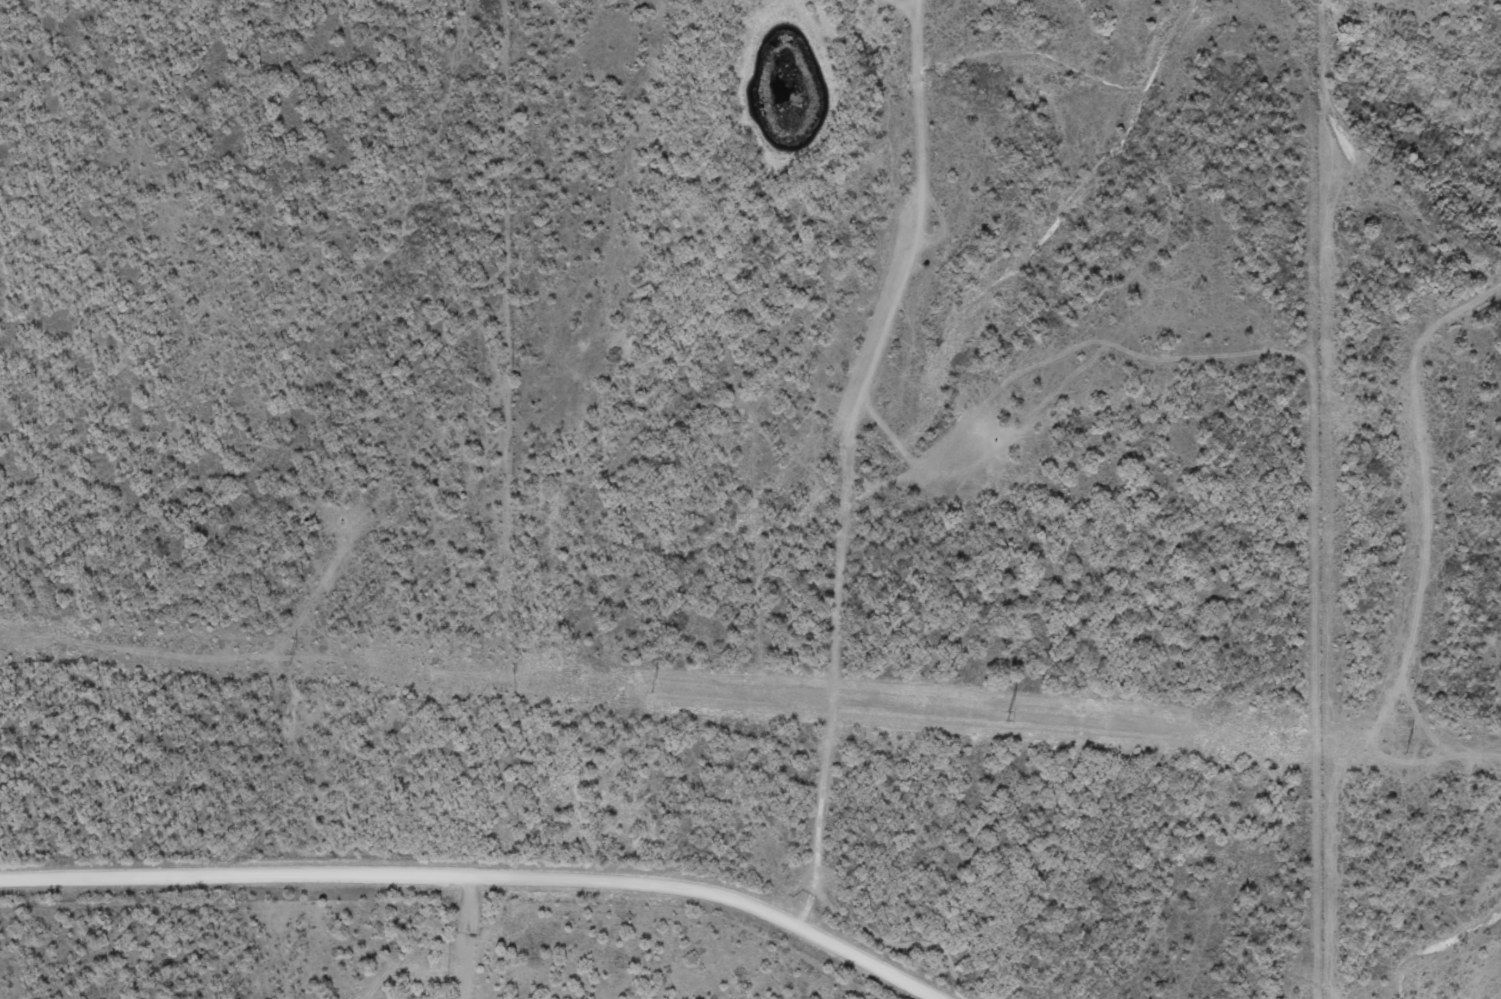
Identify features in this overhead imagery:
power tower: (290, 659)
power tower: (651, 688)
power tower: (1008, 716)
power tower: (1406, 748)
road: (470, 883)
road: (459, 940)

